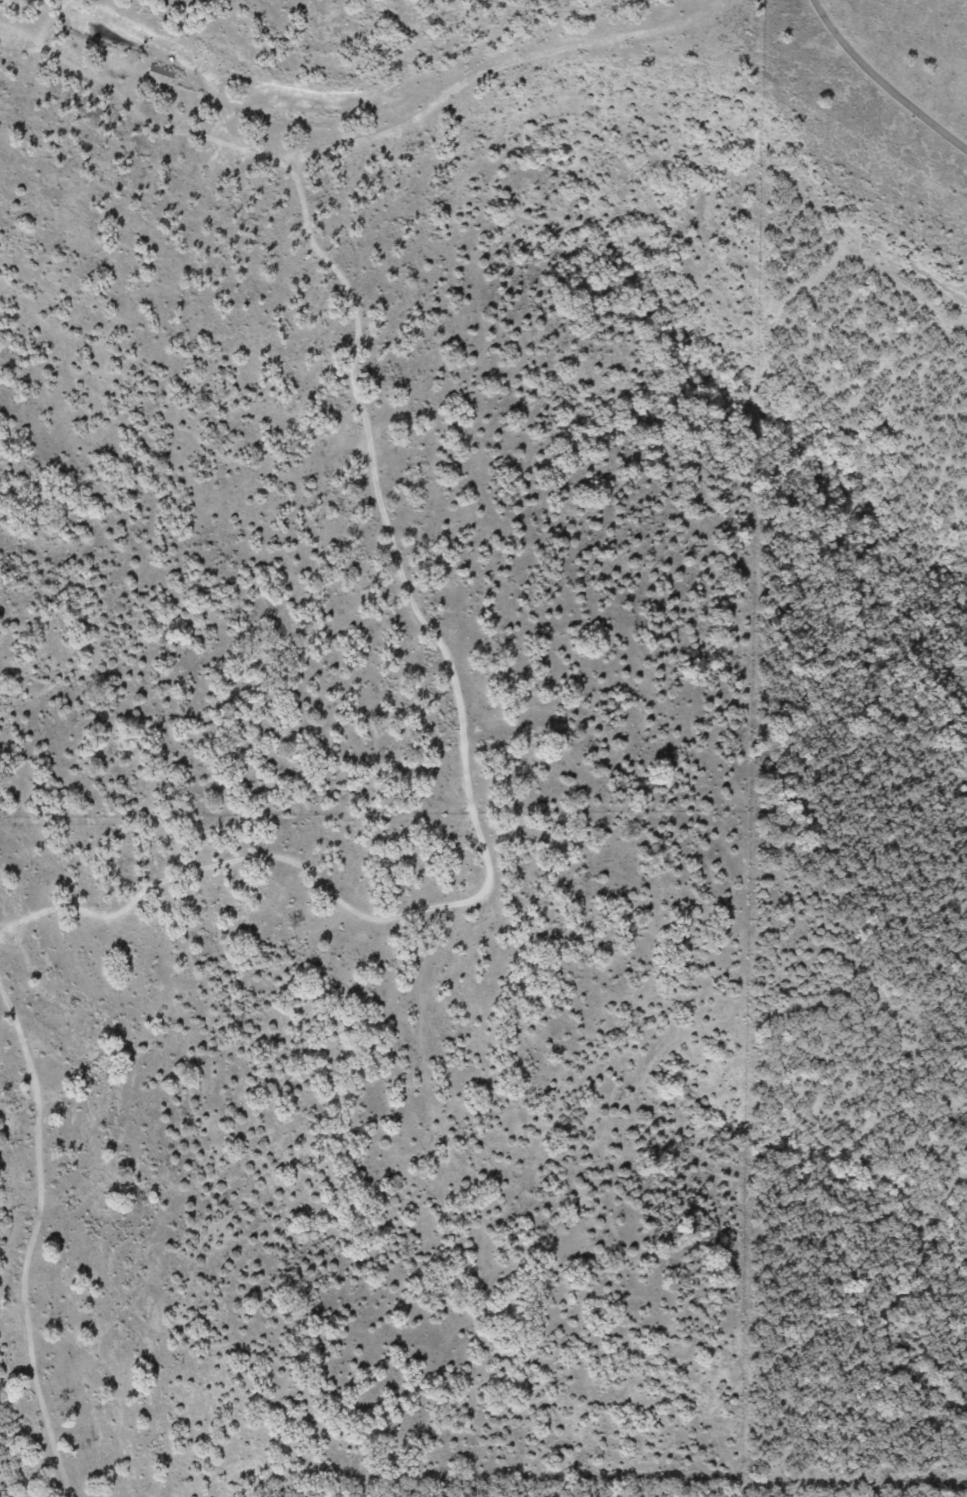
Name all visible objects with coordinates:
road: (356, 149)
road: (505, 776)
road: (120, 1206)

